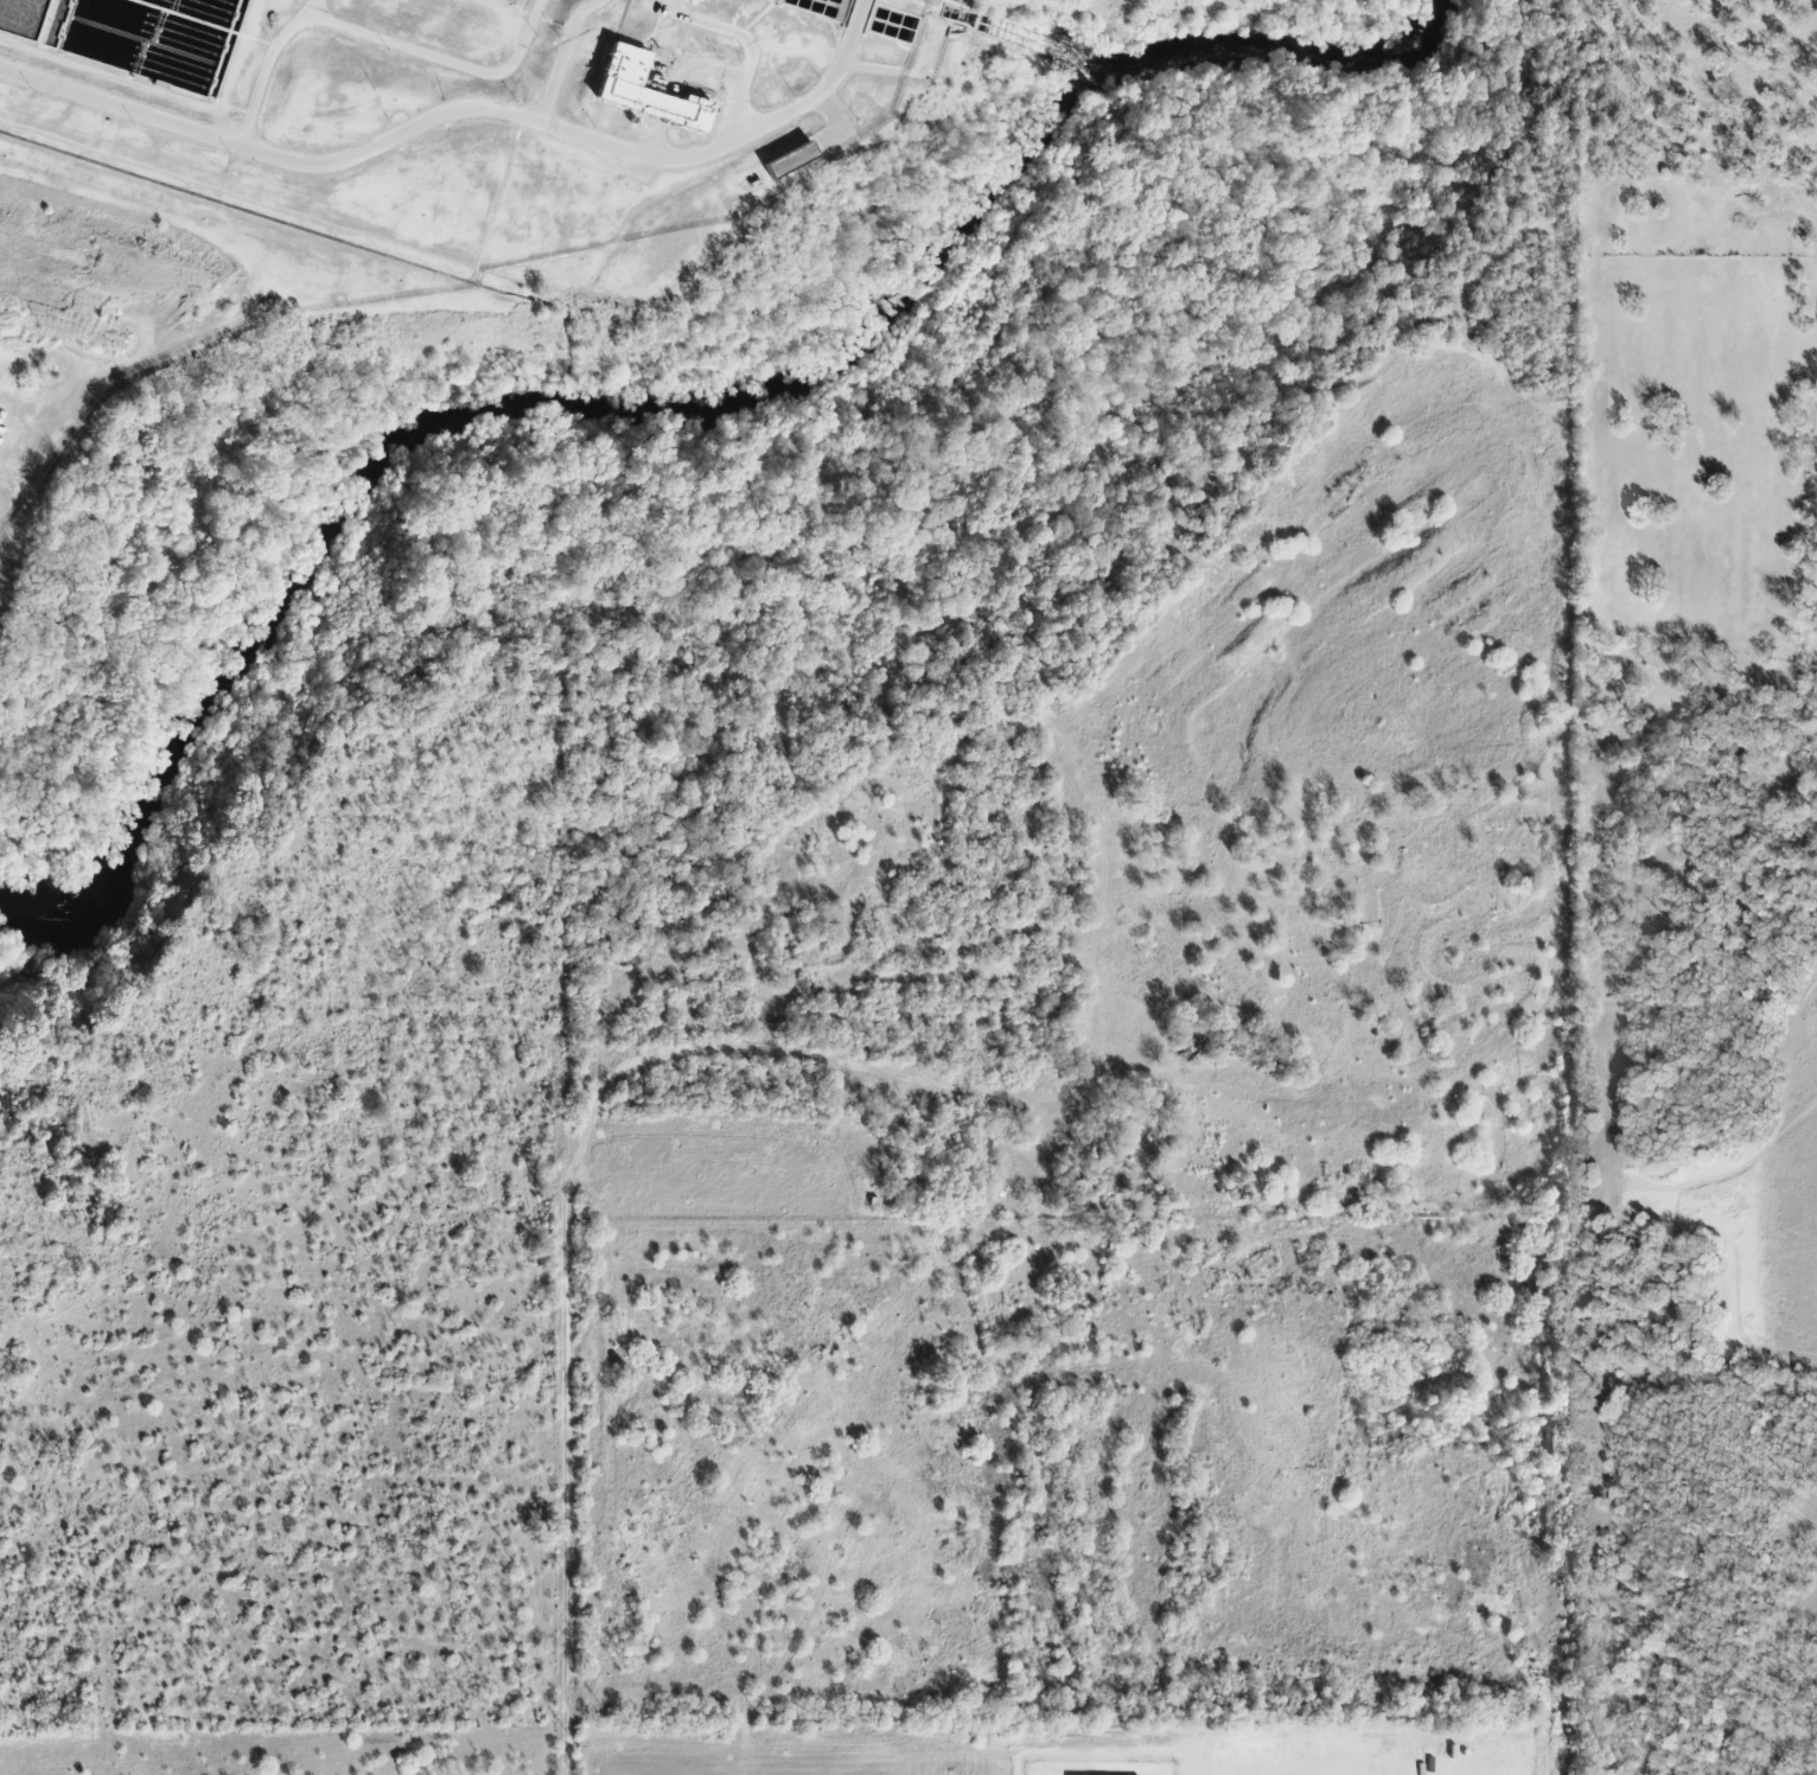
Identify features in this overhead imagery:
building: (646, 91)
road: (460, 108)
wastewater plant: (409, 160)
river: (663, 394)
road: (565, 1470)

